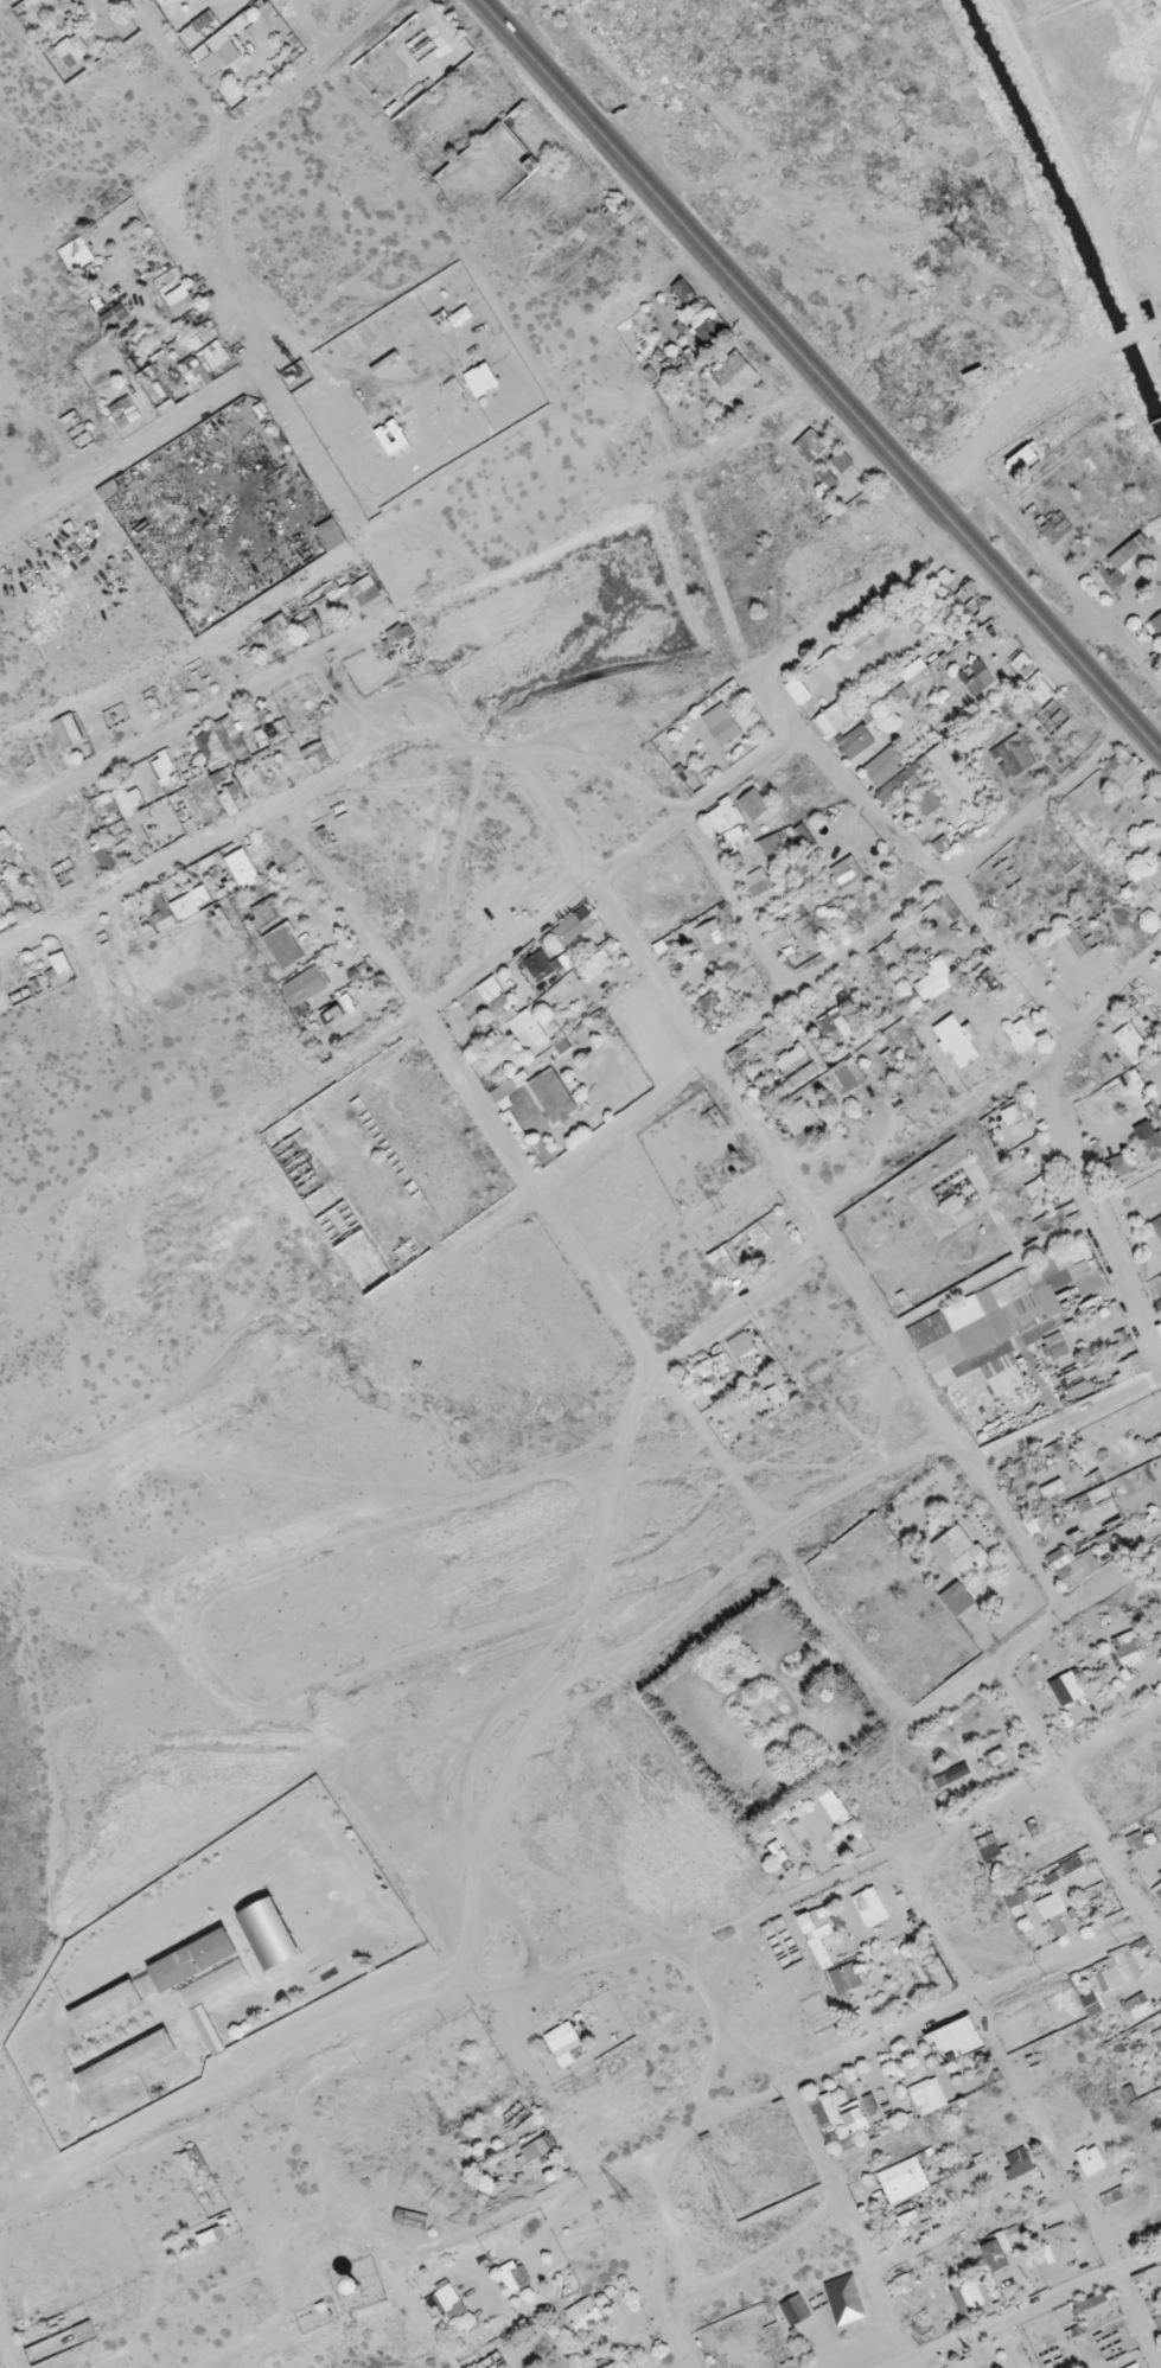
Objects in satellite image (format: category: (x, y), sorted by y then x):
power tower: (619, 2193)
water tower: (346, 2276)

